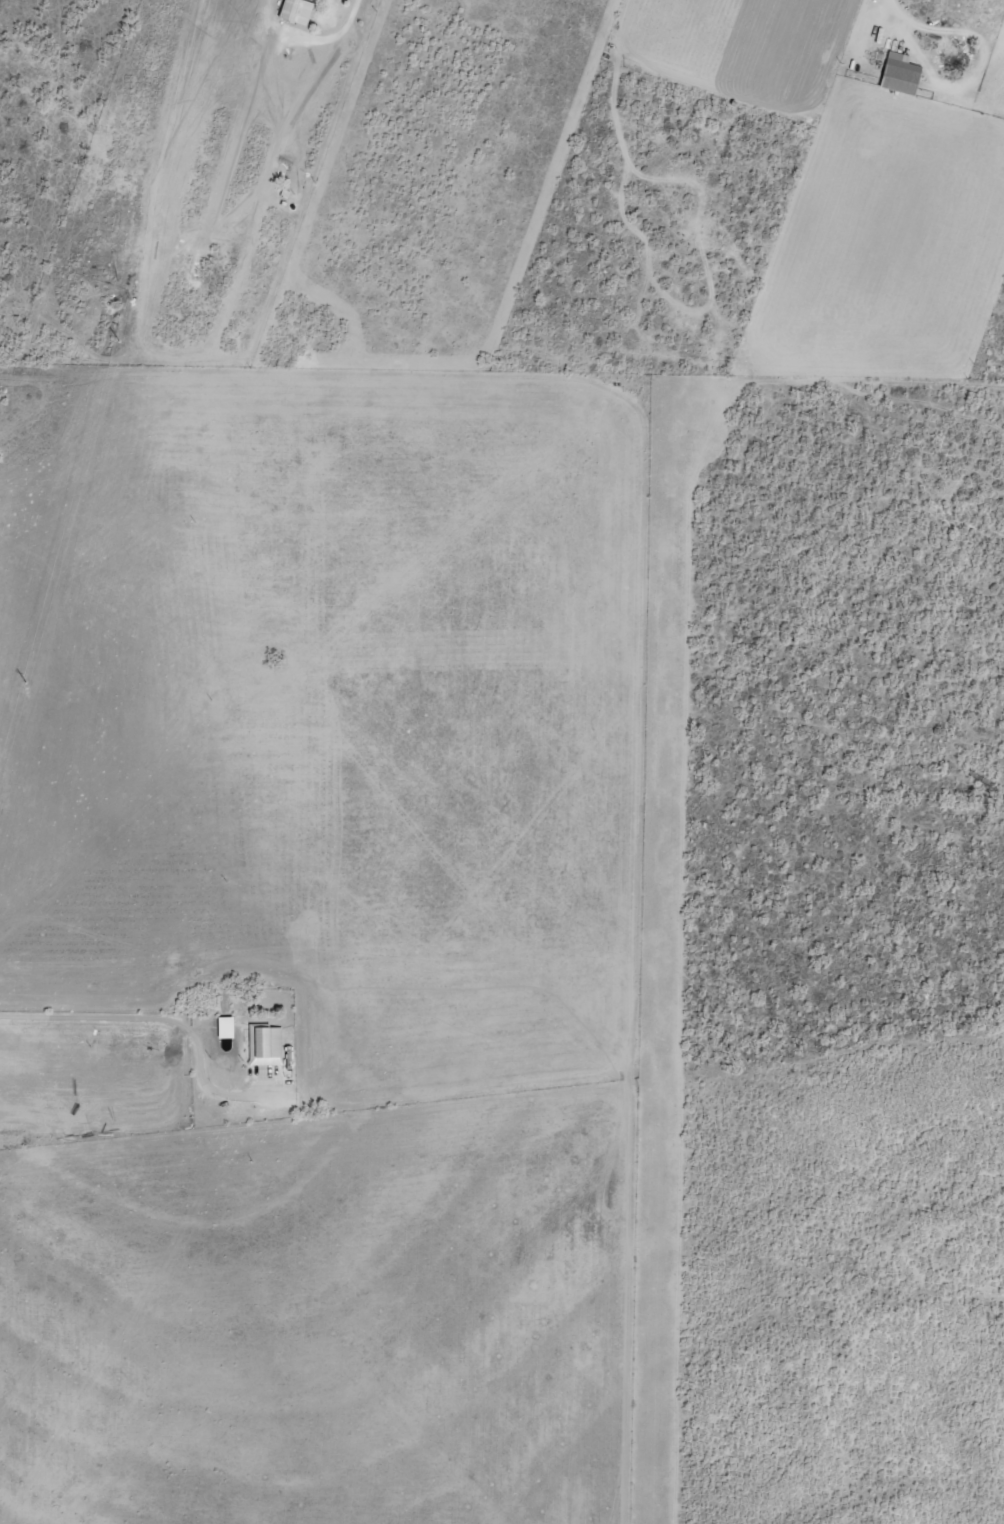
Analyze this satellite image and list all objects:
building: (294, 11)
building: (898, 73)
power tower: (113, 336)
power tower: (22, 682)
airport runway: (659, 949)
road: (159, 1017)
building: (265, 1044)

